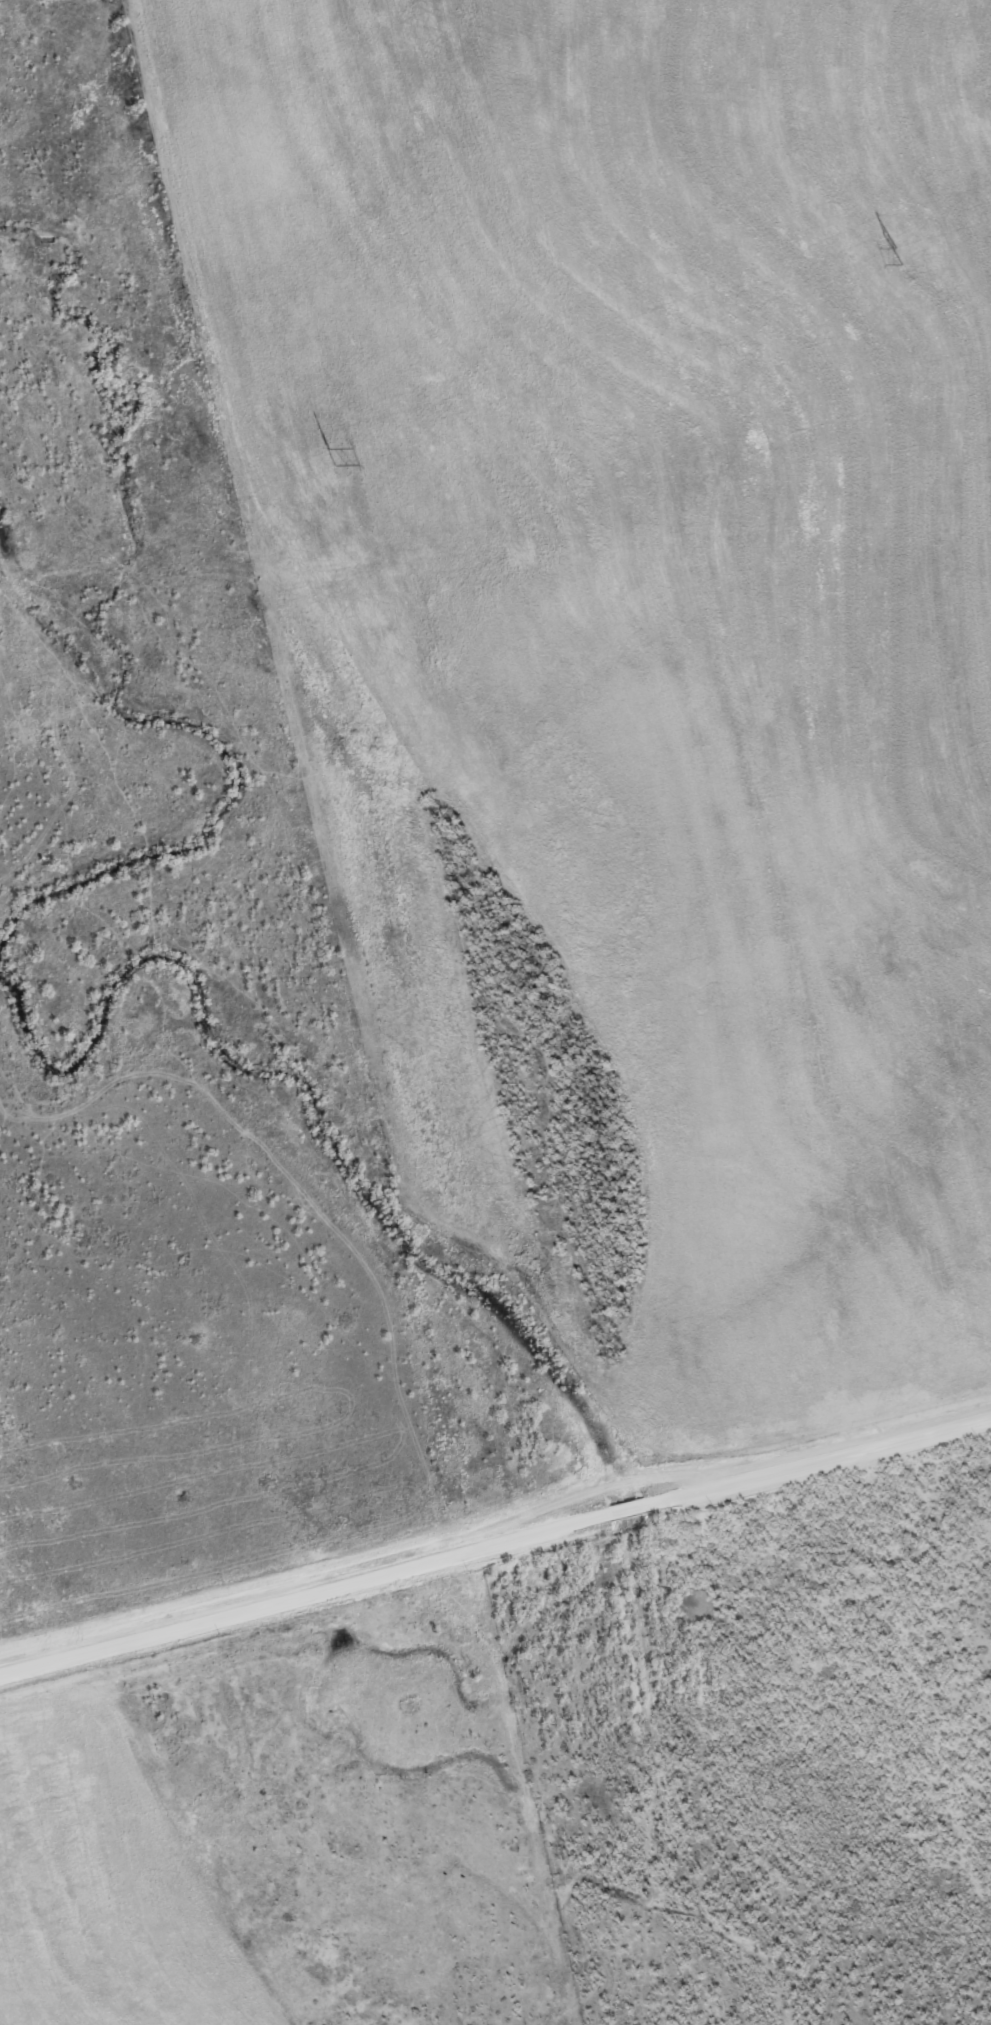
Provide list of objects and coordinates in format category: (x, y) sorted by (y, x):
power tower: (895, 256)
power tower: (327, 454)
road: (495, 1569)

